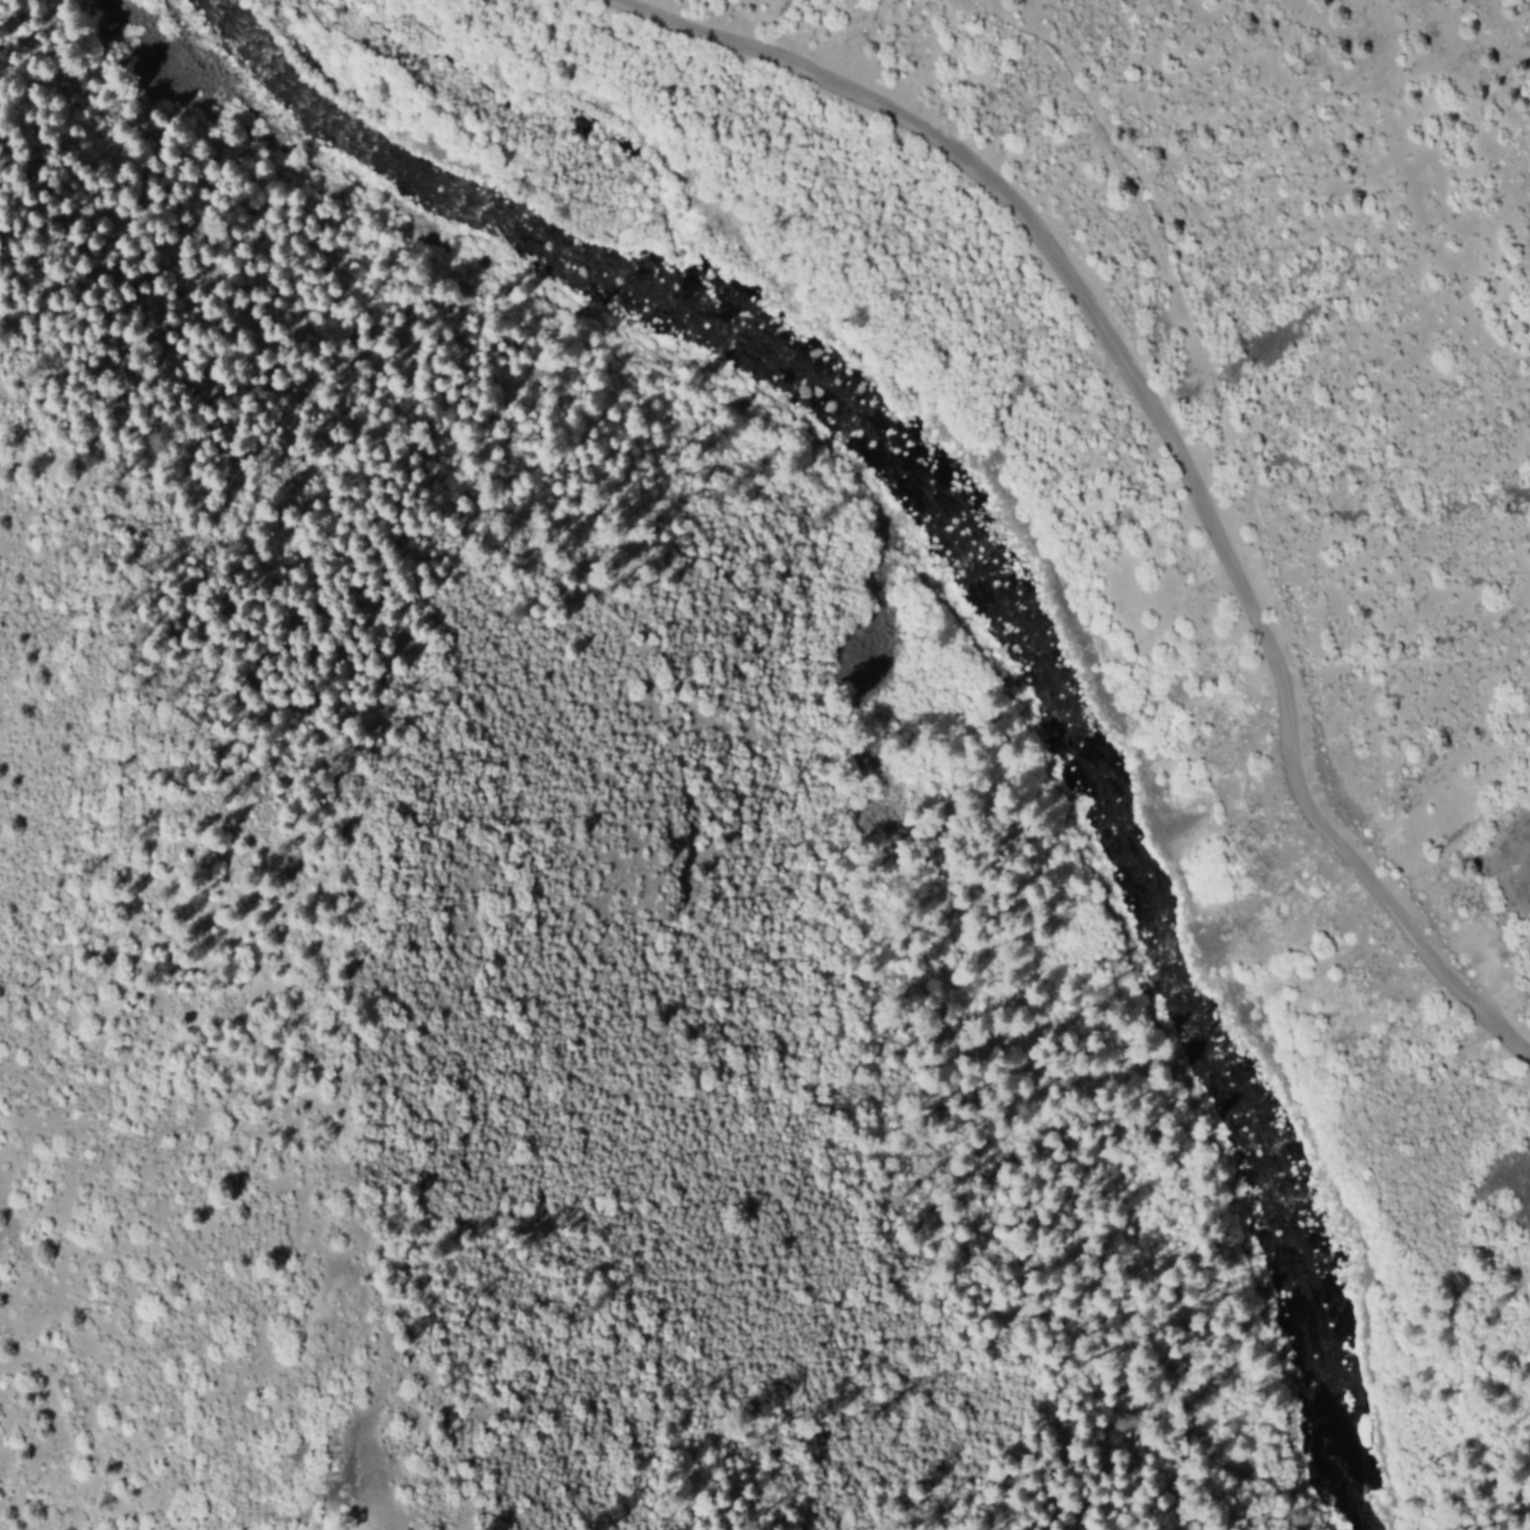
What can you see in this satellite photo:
road: (1171, 441)
river: (1013, 604)

